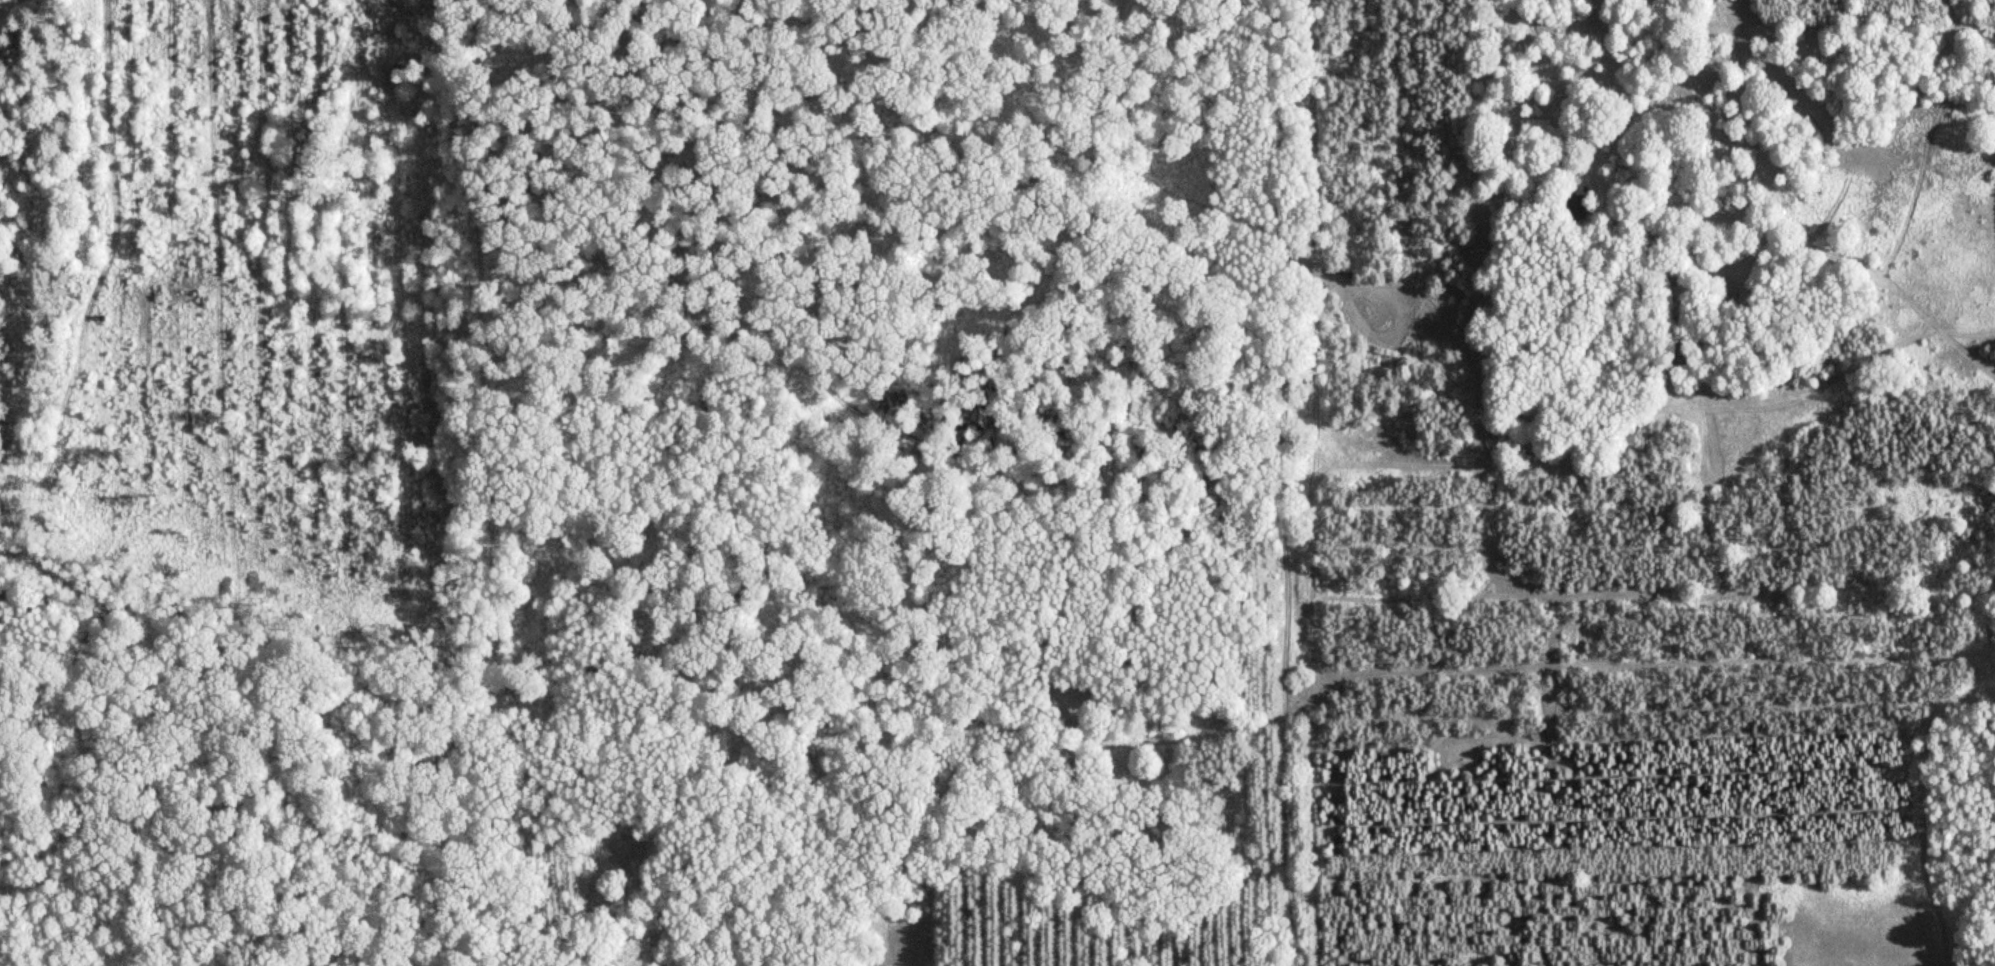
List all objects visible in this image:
building: (1574, 207)
road: (1285, 483)

